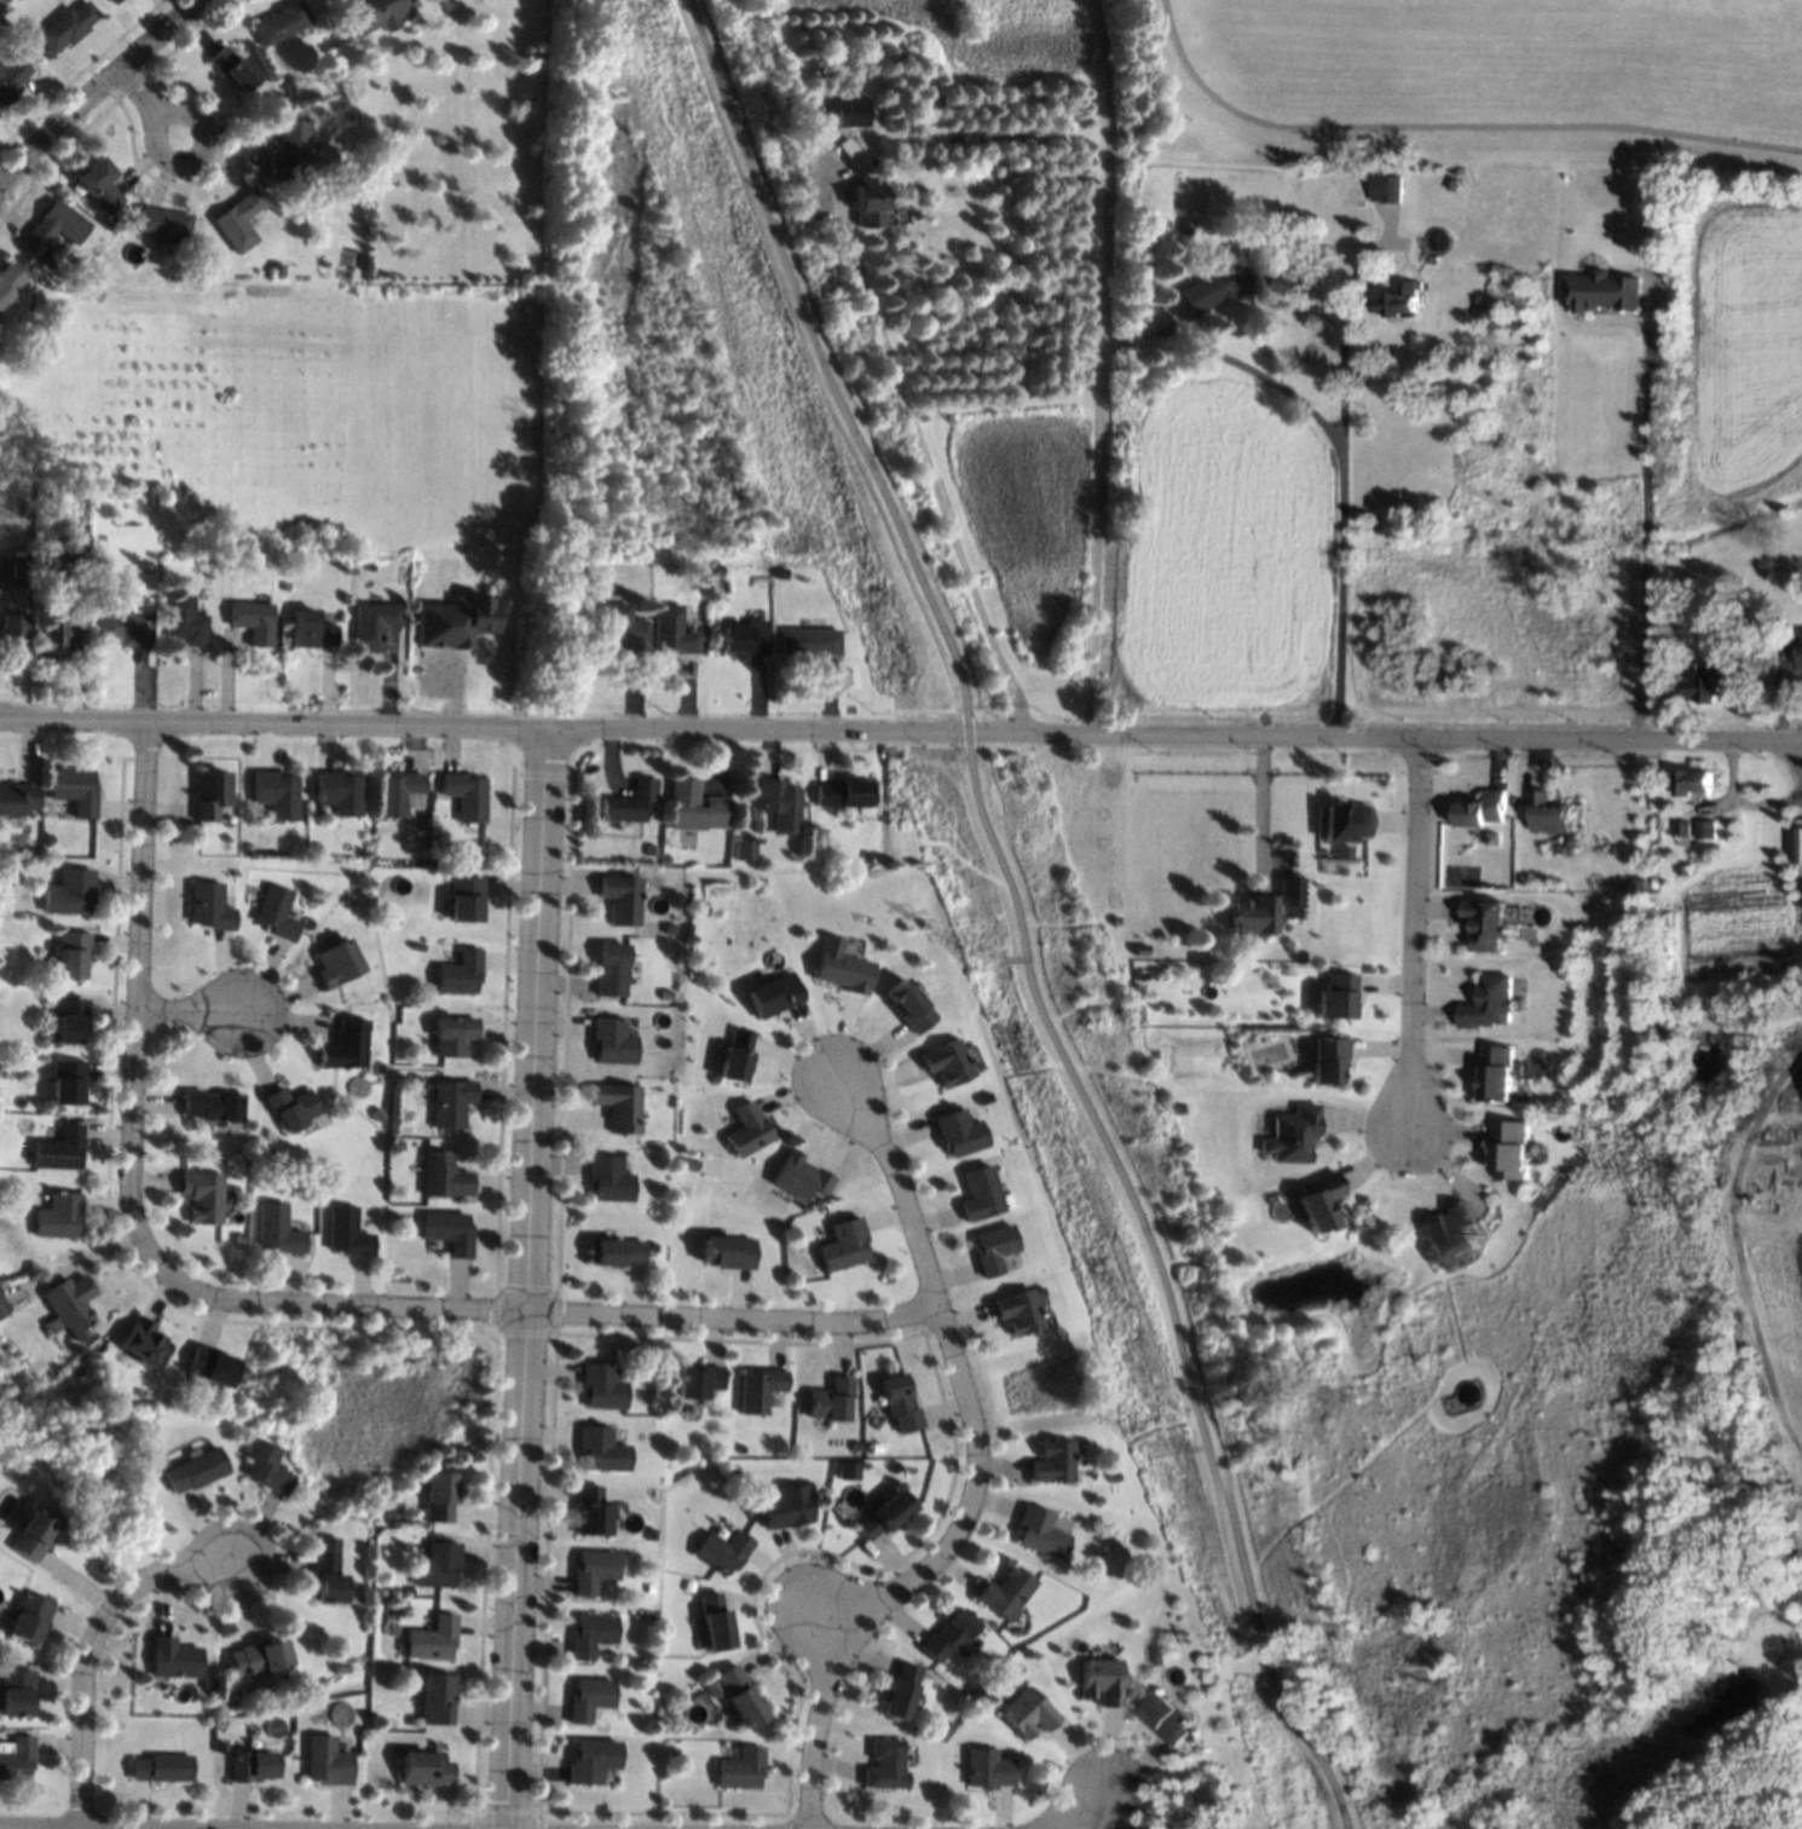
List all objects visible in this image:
building: (115, 1)
building: (374, 13)
building: (282, 22)
building: (67, 27)
building: (22, 44)
building: (235, 68)
park: (1466, 77)
building: (12, 79)
road: (134, 85)
building: (290, 86)
road: (94, 94)
building: (849, 111)
road: (1449, 126)
building: (847, 146)
building: (290, 151)
road: (195, 155)
building: (860, 161)
building: (1451, 180)
building: (99, 184)
building: (1392, 187)
building: (868, 202)
building: (239, 220)
building: (56, 225)
building: (166, 225)
building: (1184, 226)
building: (277, 271)
building: (1223, 282)
building: (8, 283)
building: (1602, 289)
building: (1400, 300)
building: (1485, 310)
park: (820, 360)
road: (1101, 367)
road: (1259, 375)
road: (931, 462)
road: (1338, 484)
building: (45, 496)
building: (155, 498)
road: (1641, 530)
building: (70, 554)
building: (244, 559)
building: (18, 570)
building: (718, 570)
building: (782, 571)
building: (705, 573)
building: (724, 587)
building: (613, 589)
building: (457, 619)
building: (184, 621)
building: (252, 621)
building: (125, 623)
building: (374, 623)
building: (13, 629)
building: (310, 629)
building: (620, 630)
building: (671, 630)
building: (52, 634)
building: (745, 636)
building: (810, 641)
building: (1801, 647)
building: (1709, 682)
road: (900, 733)
building: (1693, 781)
road: (1763, 789)
building: (75, 790)
building: (339, 791)
building: (400, 792)
building: (843, 792)
building: (276, 794)
building: (208, 795)
building: (466, 795)
building: (17, 798)
building: (630, 802)
building: (779, 803)
building: (694, 807)
road: (1260, 807)
building: (1483, 809)
building: (1549, 813)
building: (1342, 821)
building: (1683, 830)
building: (1706, 830)
building: (48, 840)
building: (1572, 843)
building: (1798, 844)
building: (745, 849)
building: (1341, 850)
building: (33, 852)
building: (867, 858)
building: (1683, 867)
building: (229, 875)
building: (1521, 878)
building: (1801, 889)
building: (69, 893)
building: (467, 899)
building: (620, 899)
building: (209, 906)
building: (1263, 908)
building: (276, 912)
road: (1018, 913)
building: (445, 916)
building: (1115, 921)
building: (1489, 924)
building: (670, 929)
road: (1414, 929)
building: (418, 947)
building: (71, 954)
building: (337, 960)
building: (841, 967)
building: (611, 970)
building: (461, 973)
building: (1142, 974)
building: (775, 996)
building: (1335, 997)
building: (1490, 1004)
building: (906, 1005)
road: (139, 1008)
road: (191, 1011)
building: (69, 1021)
building: (455, 1034)
building: (612, 1042)
building: (347, 1045)
building: (737, 1057)
building: (1323, 1060)
building: (945, 1062)
building: (1502, 1071)
building: (69, 1080)
building: (415, 1080)
building: (451, 1103)
building: (212, 1106)
building: (618, 1106)
building: (291, 1107)
building: (1174, 1108)
building: (746, 1130)
building: (955, 1131)
building: (1292, 1135)
building: (60, 1148)
building: (1540, 1148)
building: (1512, 1150)
building: (271, 1155)
building: (243, 1156)
building: (687, 1166)
building: (444, 1176)
building: (798, 1176)
building: (607, 1179)
building: (308, 1181)
building: (333, 1181)
building: (976, 1193)
building: (203, 1195)
building: (1317, 1201)
building: (59, 1216)
building: (278, 1229)
building: (449, 1231)
building: (347, 1233)
building: (1445, 1234)
building: (242, 1240)
building: (839, 1244)
building: (989, 1247)
building: (612, 1251)
building: (726, 1252)
road: (524, 1280)
park: (1151, 1285)
building: (2, 1305)
building: (70, 1305)
building: (1013, 1310)
road: (551, 1314)
building: (146, 1342)
building: (212, 1366)
building: (697, 1381)
building: (599, 1386)
building: (757, 1389)
building: (826, 1400)
building: (895, 1403)
crop: (1728, 1419)
building: (150, 1429)
building: (851, 1446)
building: (872, 1447)
building: (600, 1449)
building: (739, 1449)
building: (1049, 1460)
building: (266, 1467)
building: (867, 1469)
road: (975, 1469)
building: (195, 1470)
building: (845, 1470)
building: (438, 1493)
building: (750, 1507)
building: (785, 1507)
building: (589, 1512)
building: (391, 1513)
building: (879, 1514)
building: (1034, 1531)
building: (34, 1534)
building: (722, 1552)
building: (438, 1565)
building: (328, 1569)
building: (591, 1571)
building: (687, 1586)
building: (647, 1588)
building: (1001, 1592)
building: (30, 1617)
building: (712, 1622)
building: (946, 1634)
building: (589, 1635)
building: (432, 1639)
road: (91, 1644)
building: (699, 1644)
building: (258, 1657)
building: (174, 1658)
building: (1160, 1658)
building: (342, 1667)
building: (1098, 1680)
building: (897, 1691)
building: (17, 1692)
building: (739, 1696)
building: (438, 1698)
building: (587, 1698)
building: (1026, 1712)
building: (1168, 1719)
building: (221, 1746)
building: (670, 1753)
building: (17, 1758)
building: (325, 1761)
building: (589, 1761)
building: (883, 1764)
building: (252, 1765)
building: (161, 1767)
building: (423, 1767)
building: (739, 1770)
building: (986, 1770)
road: (1101, 1773)
road: (1081, 1775)
road: (1125, 1783)
road: (71, 1828)

